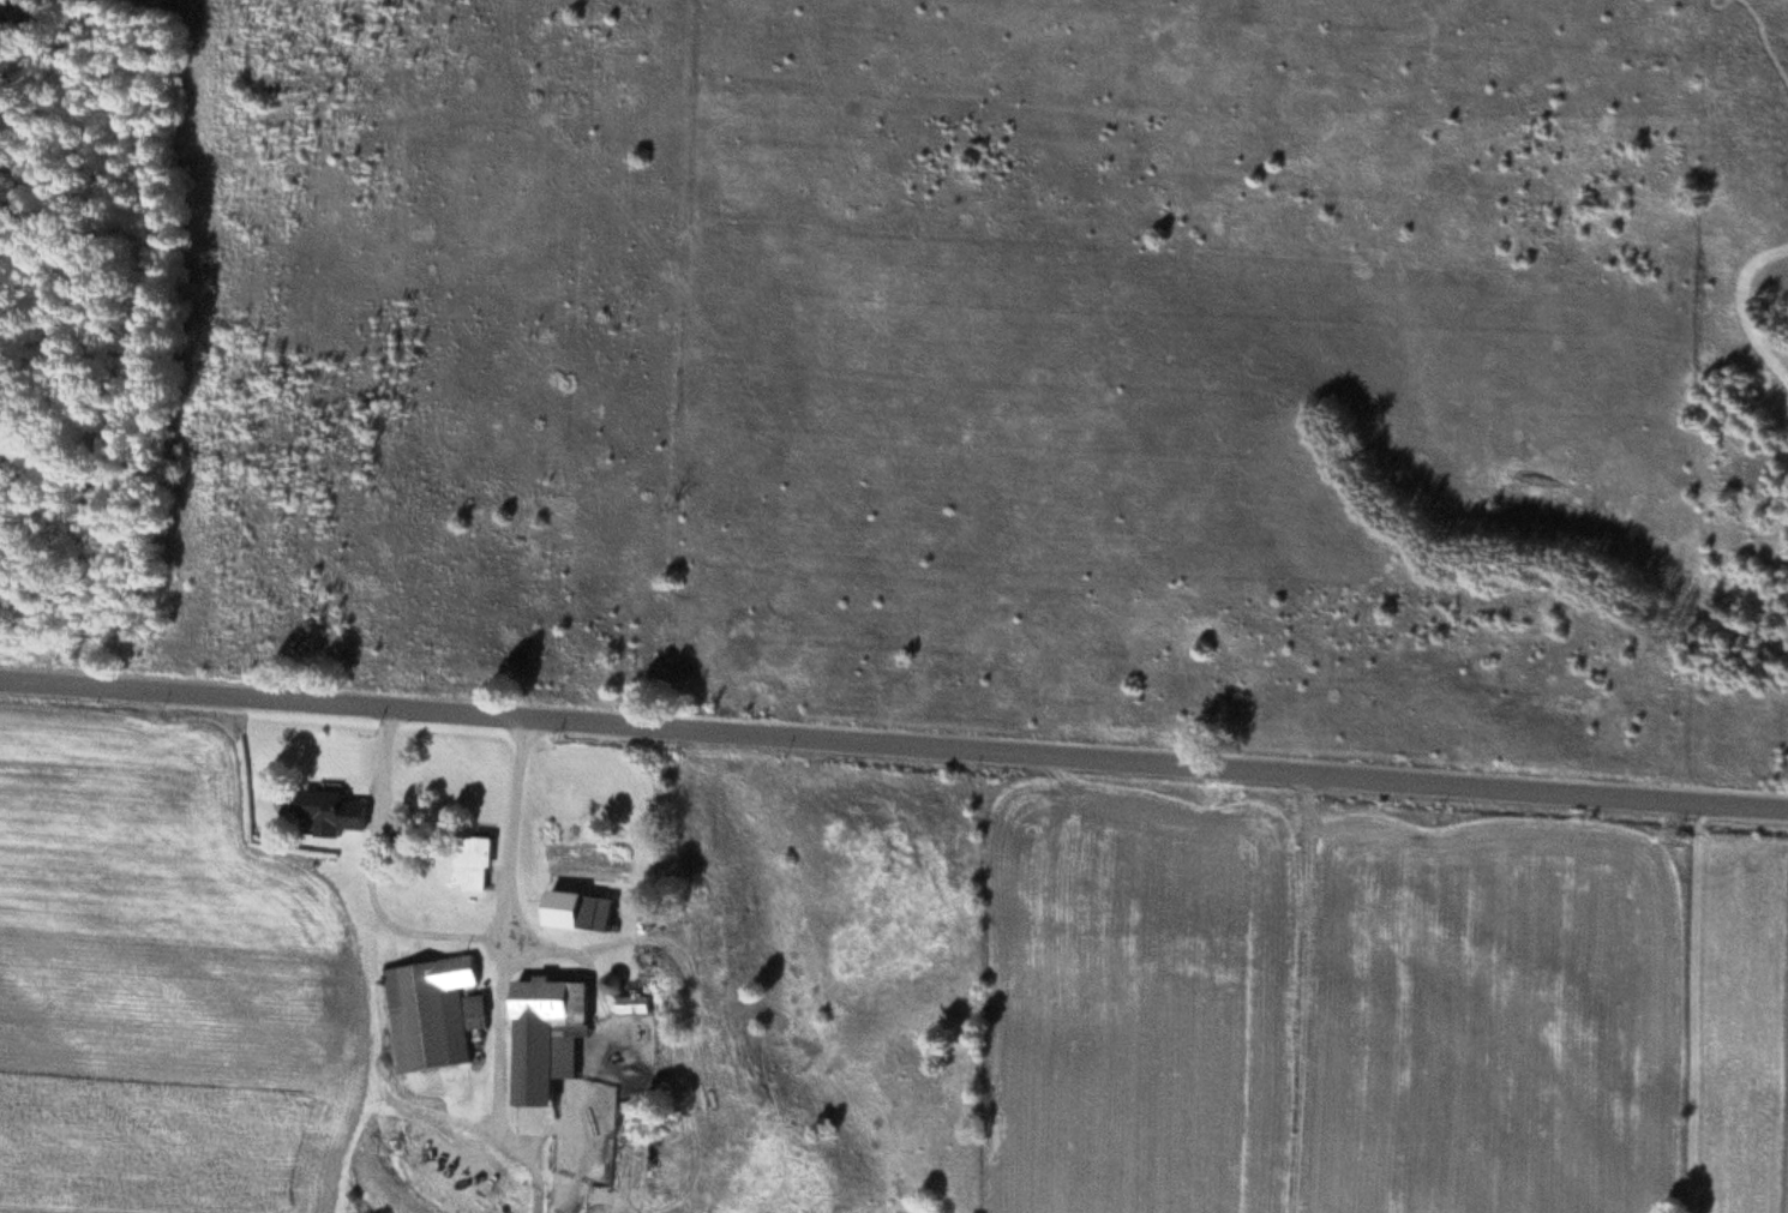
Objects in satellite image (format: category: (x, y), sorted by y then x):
road: (893, 746)
building: (335, 812)
building: (408, 845)
building: (475, 864)
building: (583, 912)
building: (617, 985)
road: (1300, 993)
building: (637, 1005)
building: (436, 1013)
building: (552, 1038)

